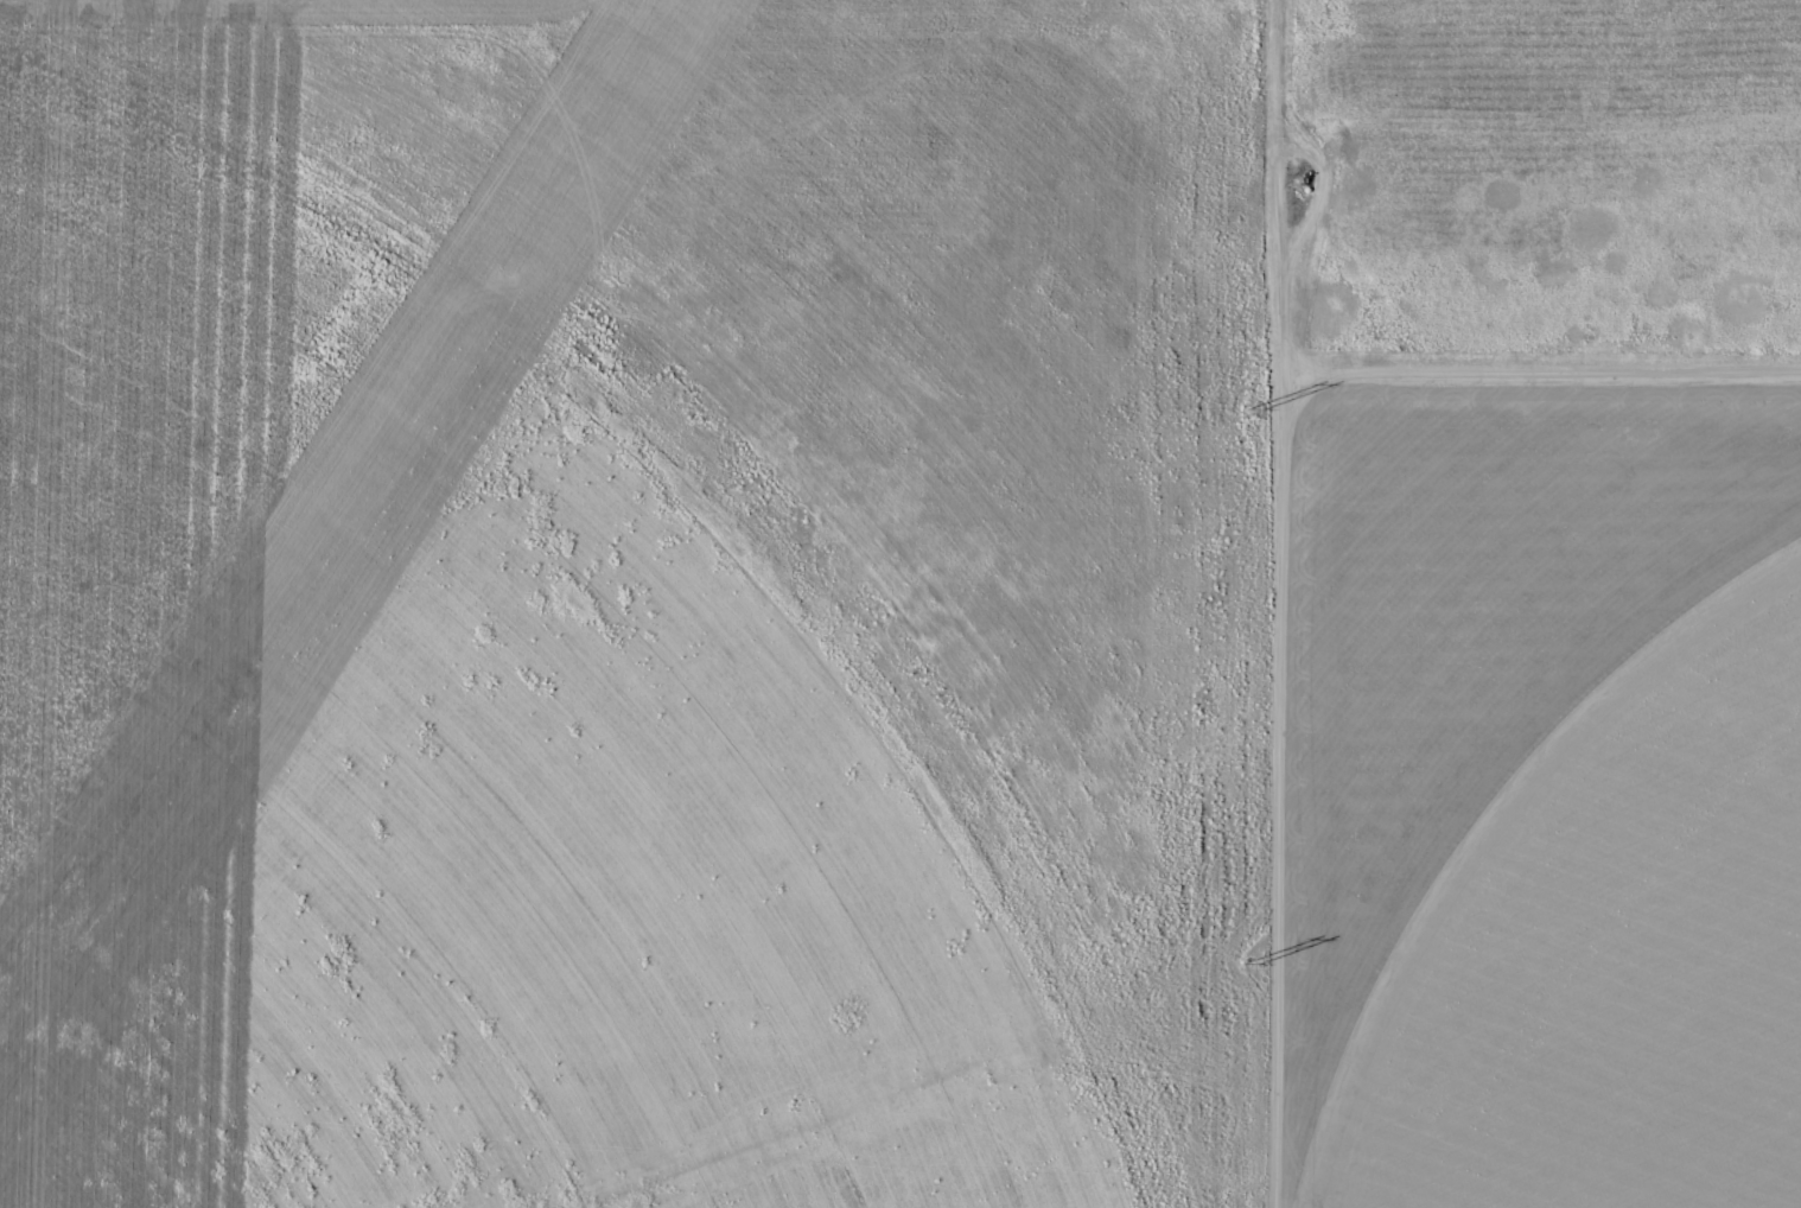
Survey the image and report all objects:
power tower: (1254, 412)
power tower: (1250, 961)

